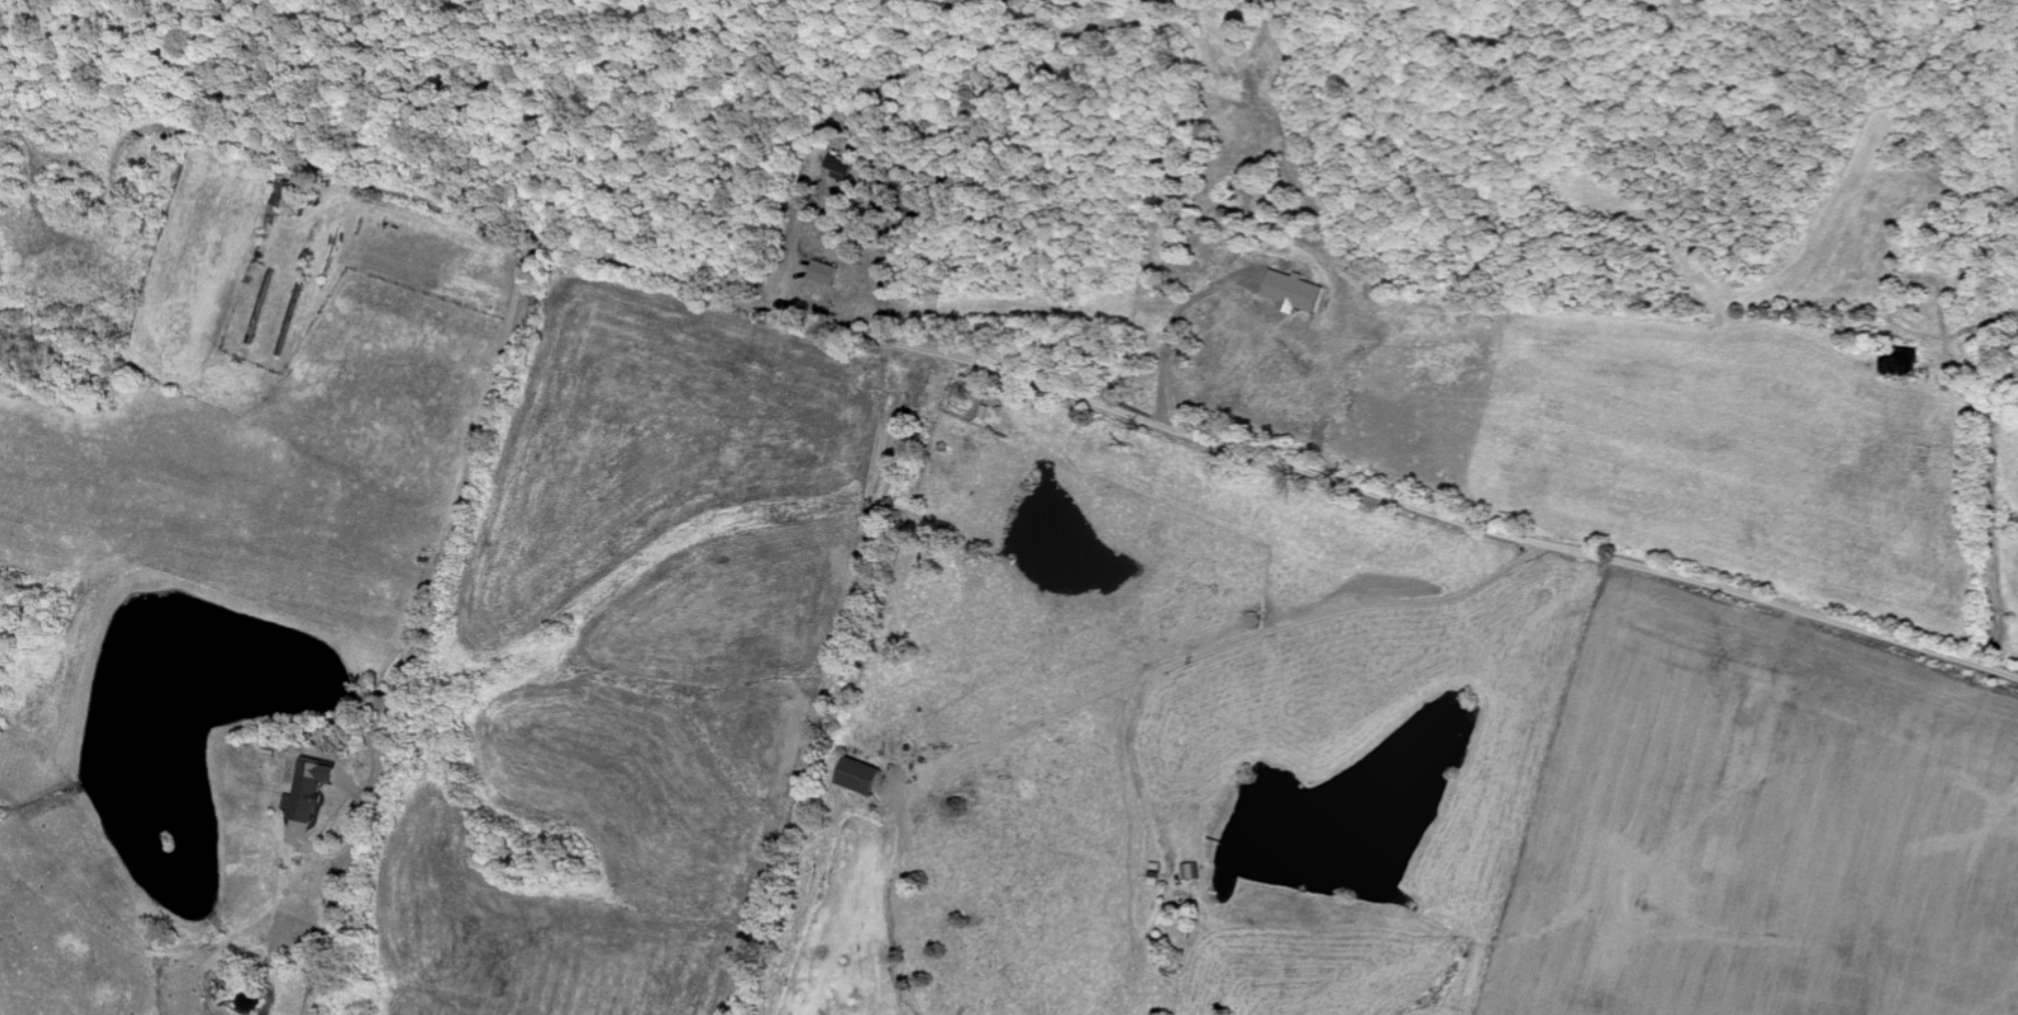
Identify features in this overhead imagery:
building: (843, 165)
building: (293, 194)
building: (828, 272)
building: (1295, 291)
road: (1111, 409)
road: (444, 572)
building: (865, 776)
building: (310, 790)
building: (1194, 870)

